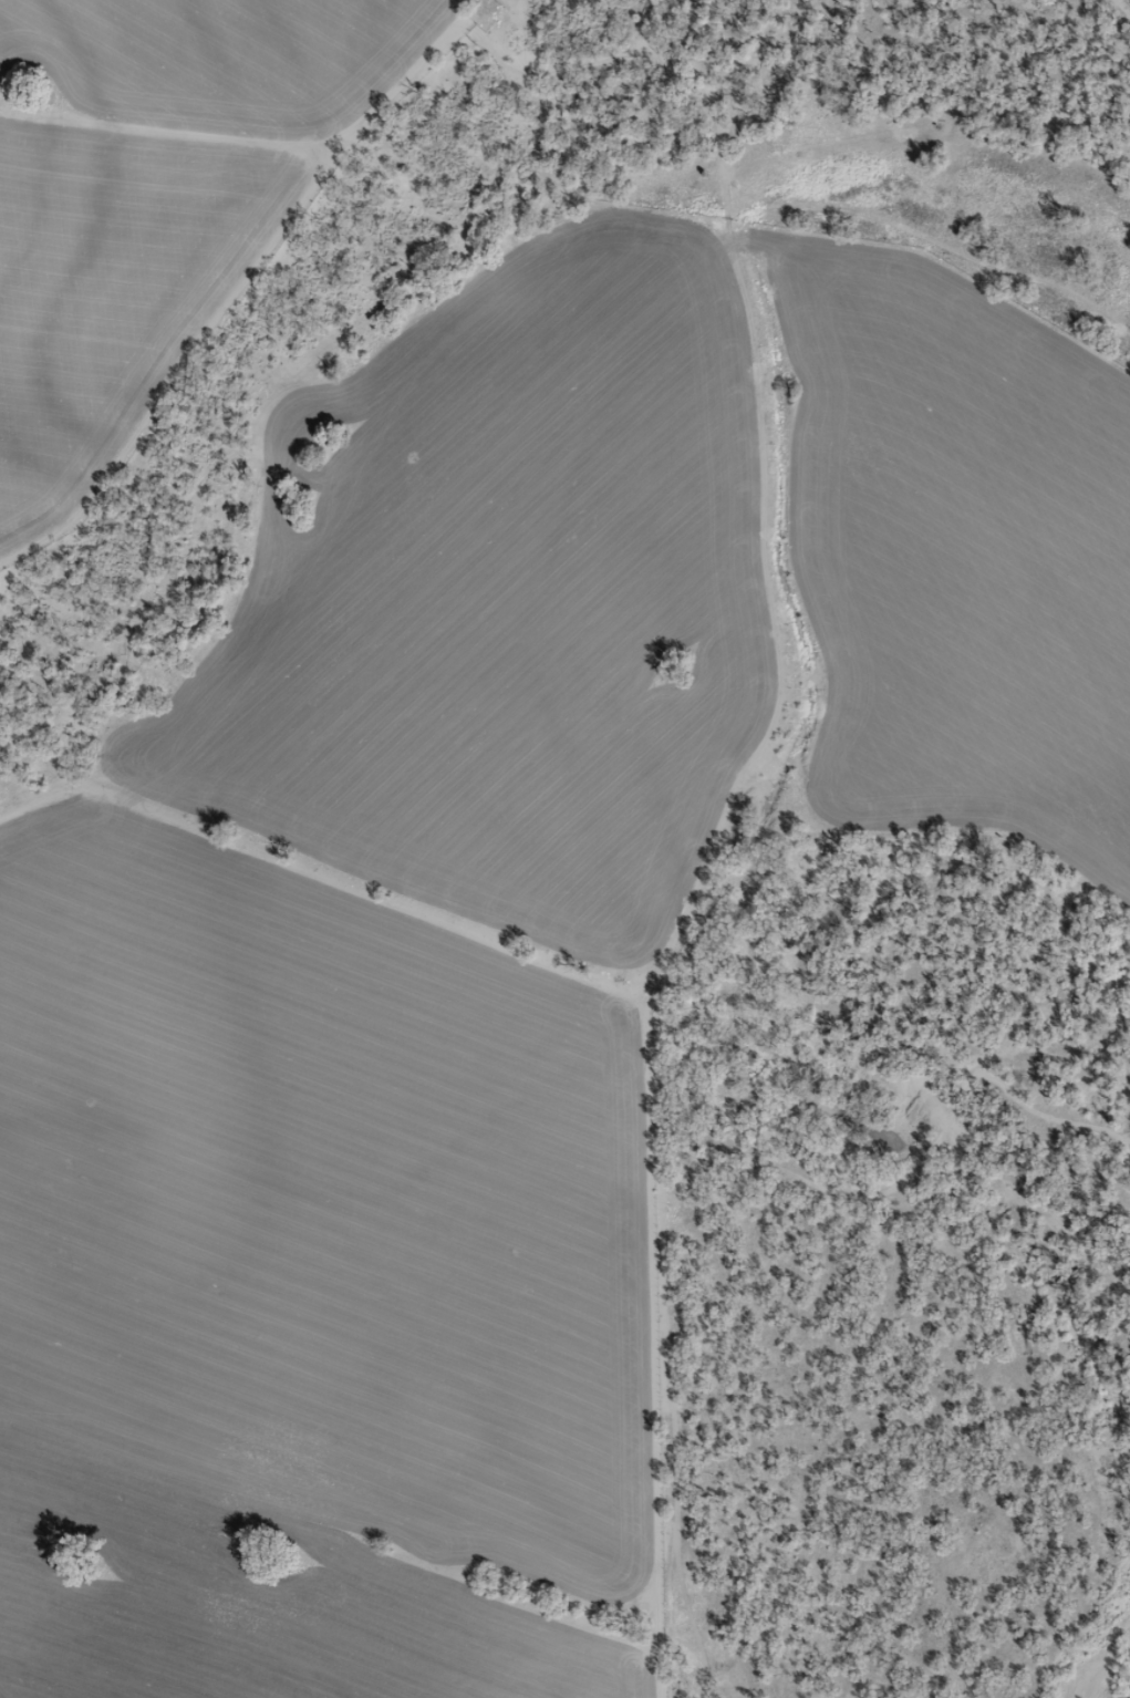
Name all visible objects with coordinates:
river: (1126, 1692)

